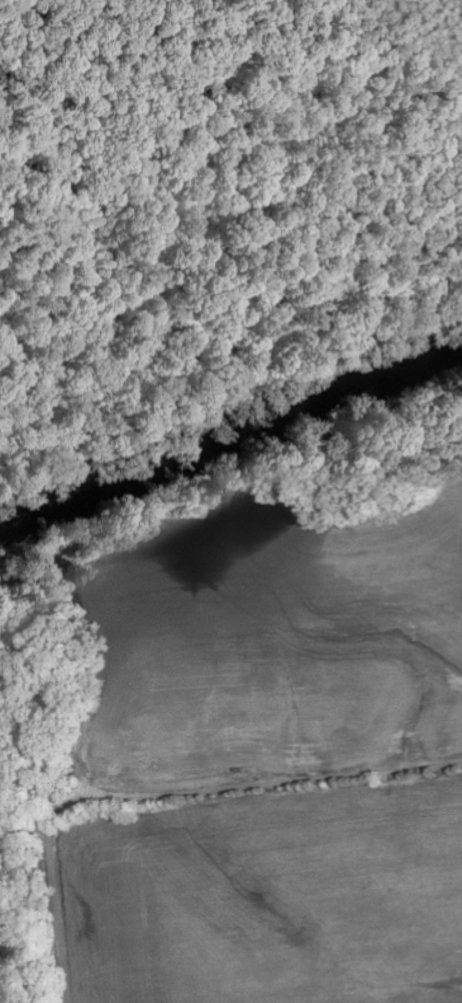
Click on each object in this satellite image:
river: (230, 427)

